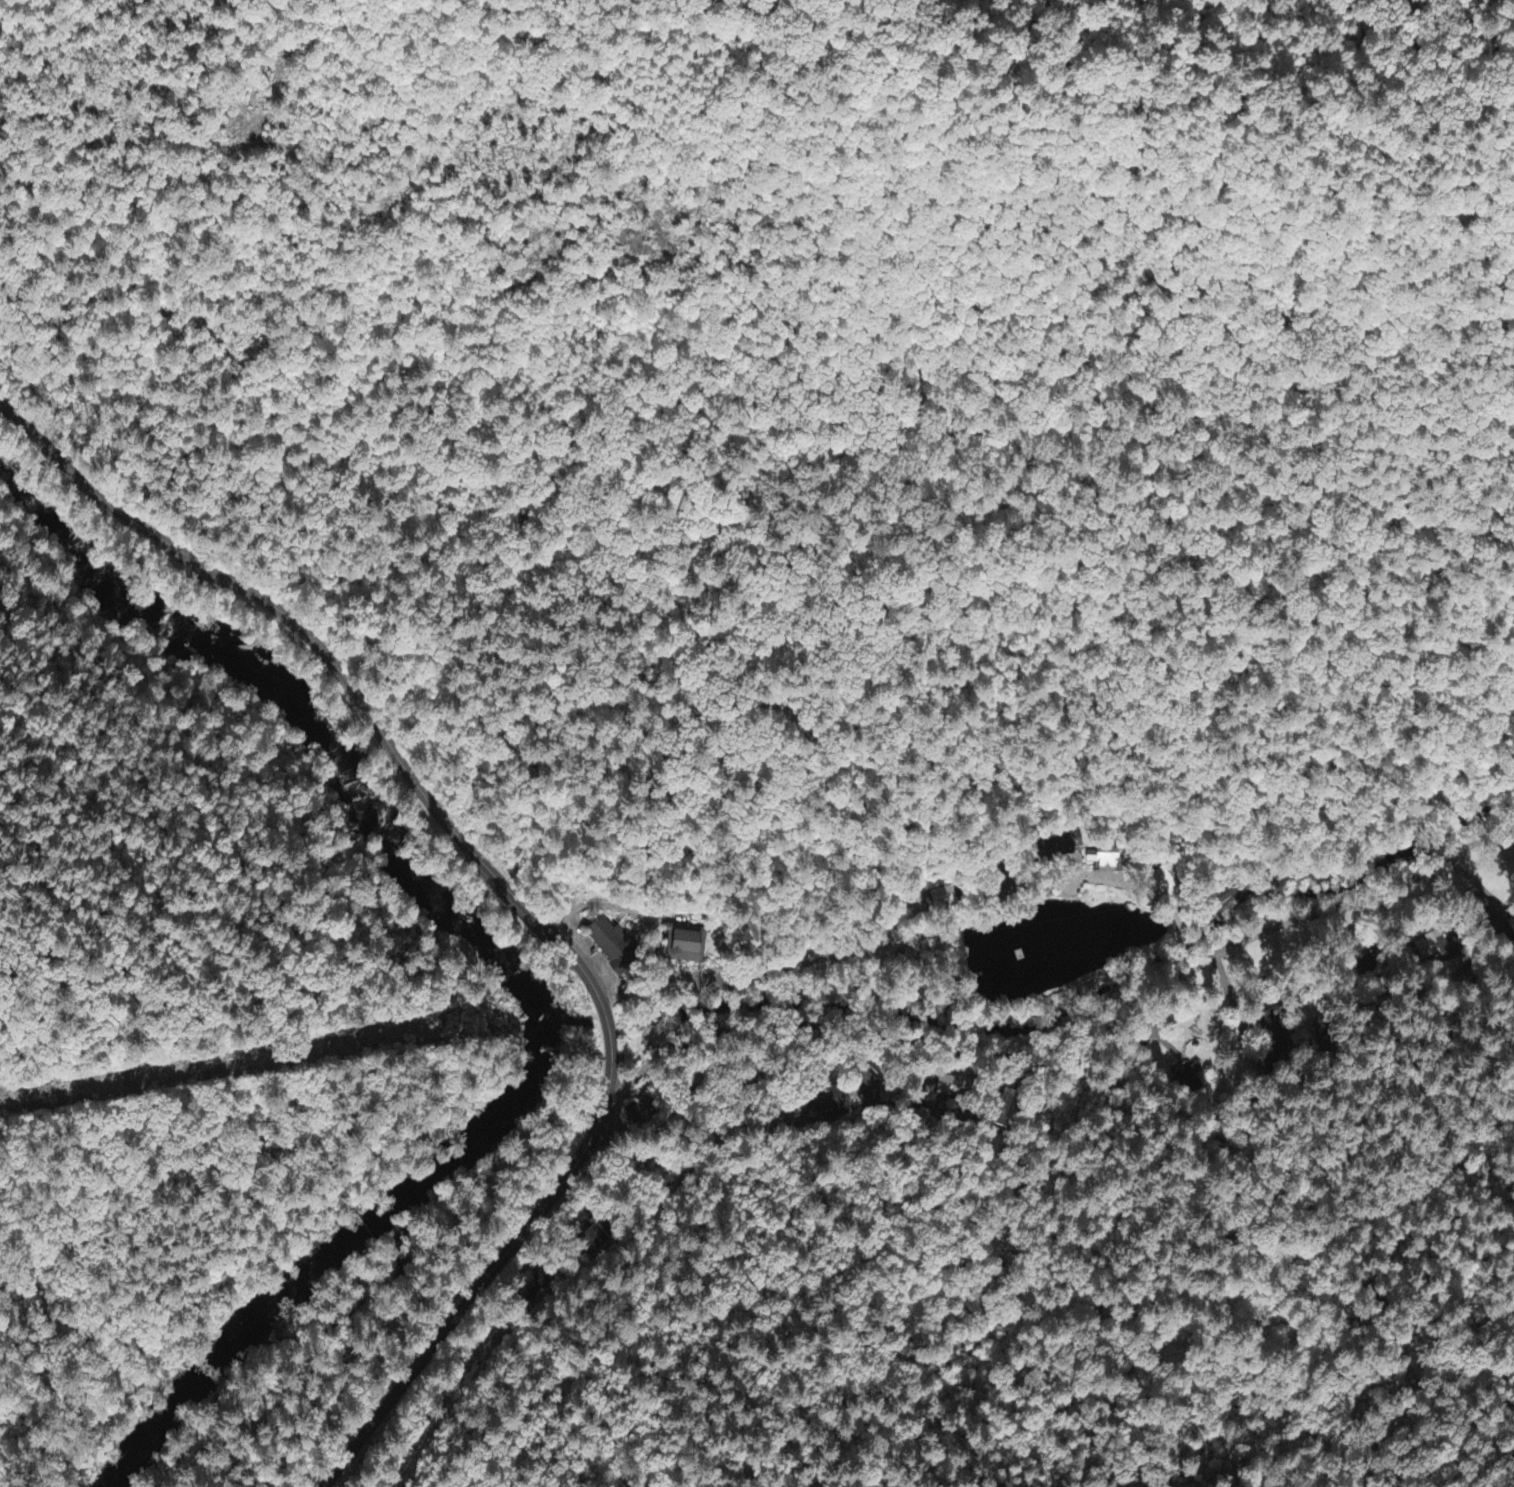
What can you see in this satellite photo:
river: (318, 718)
building: (1103, 861)
road: (514, 895)
building: (1225, 896)
road: (1345, 902)
building: (610, 943)
building: (1432, 949)
road: (900, 1038)
building: (1190, 1074)
building: (864, 1084)
building: (953, 1087)
building: (828, 1100)
building: (1008, 1108)
building: (592, 1239)
river: (337, 1257)

